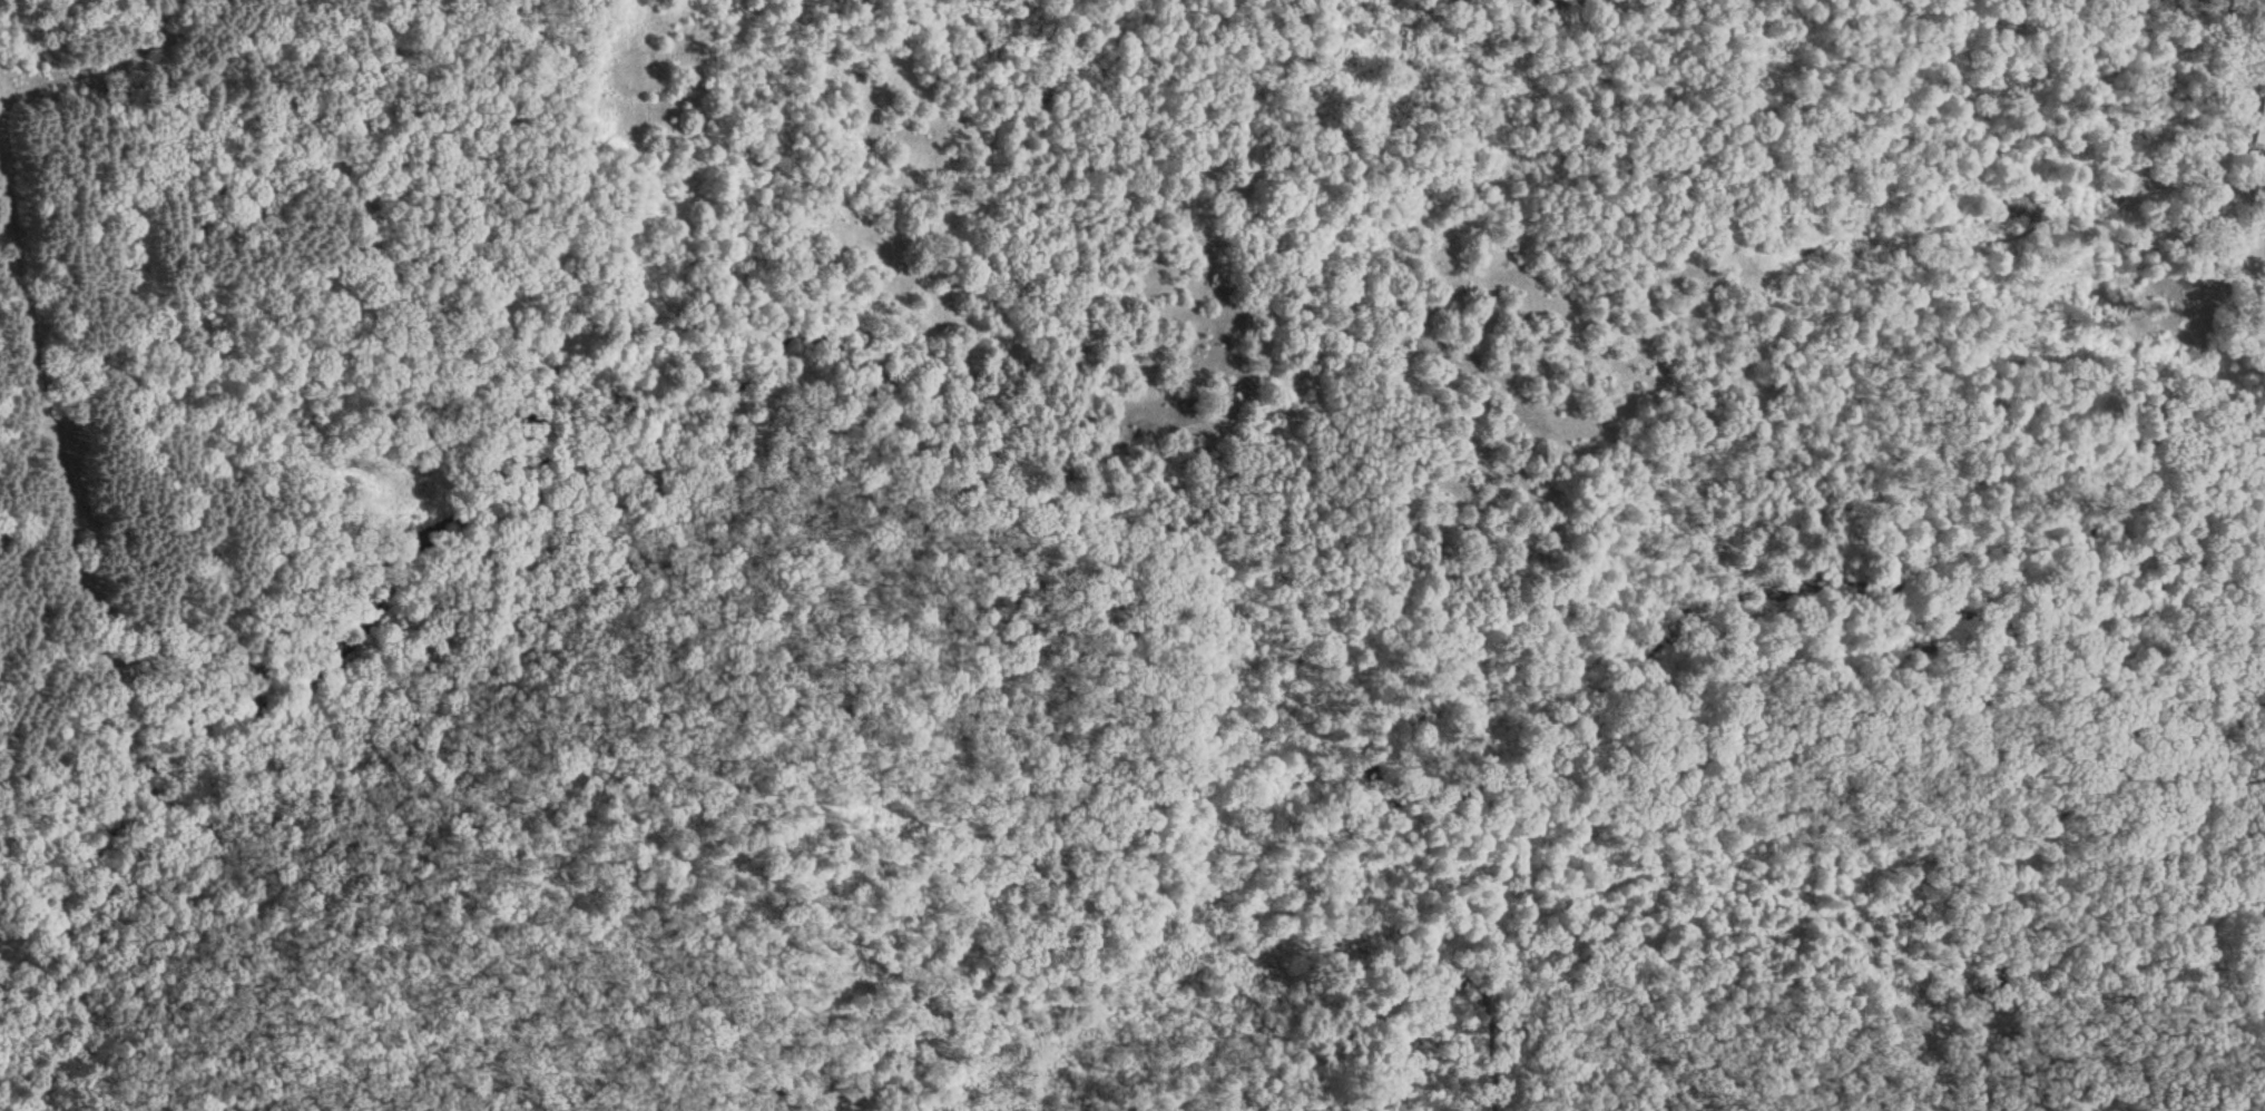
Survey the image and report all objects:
building: (2261, 126)

